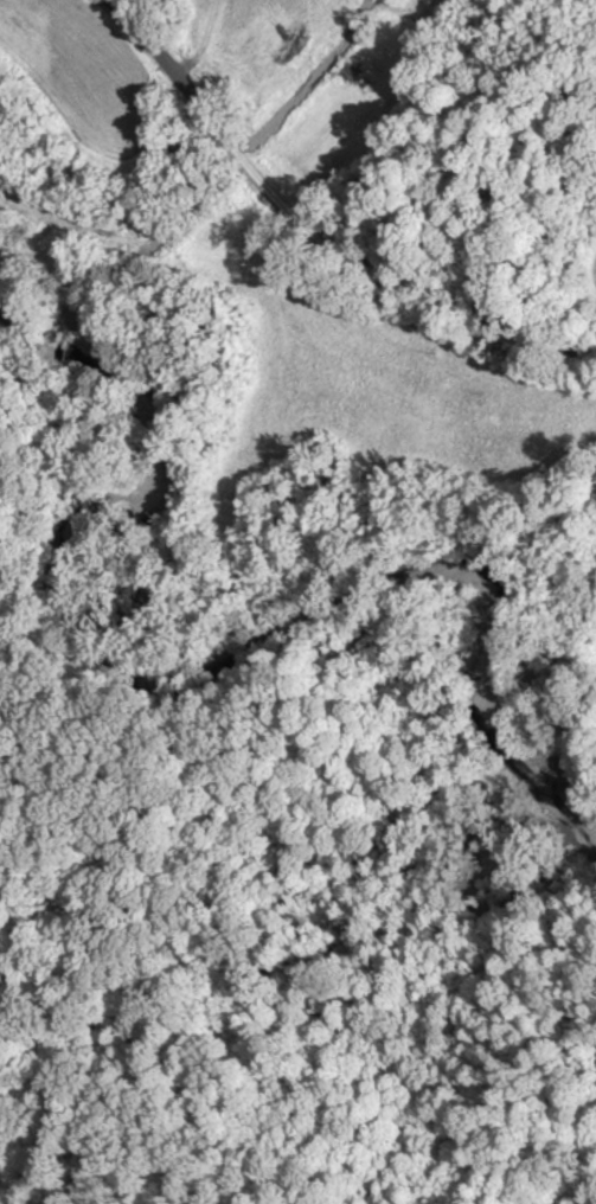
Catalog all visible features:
road: (310, 232)

